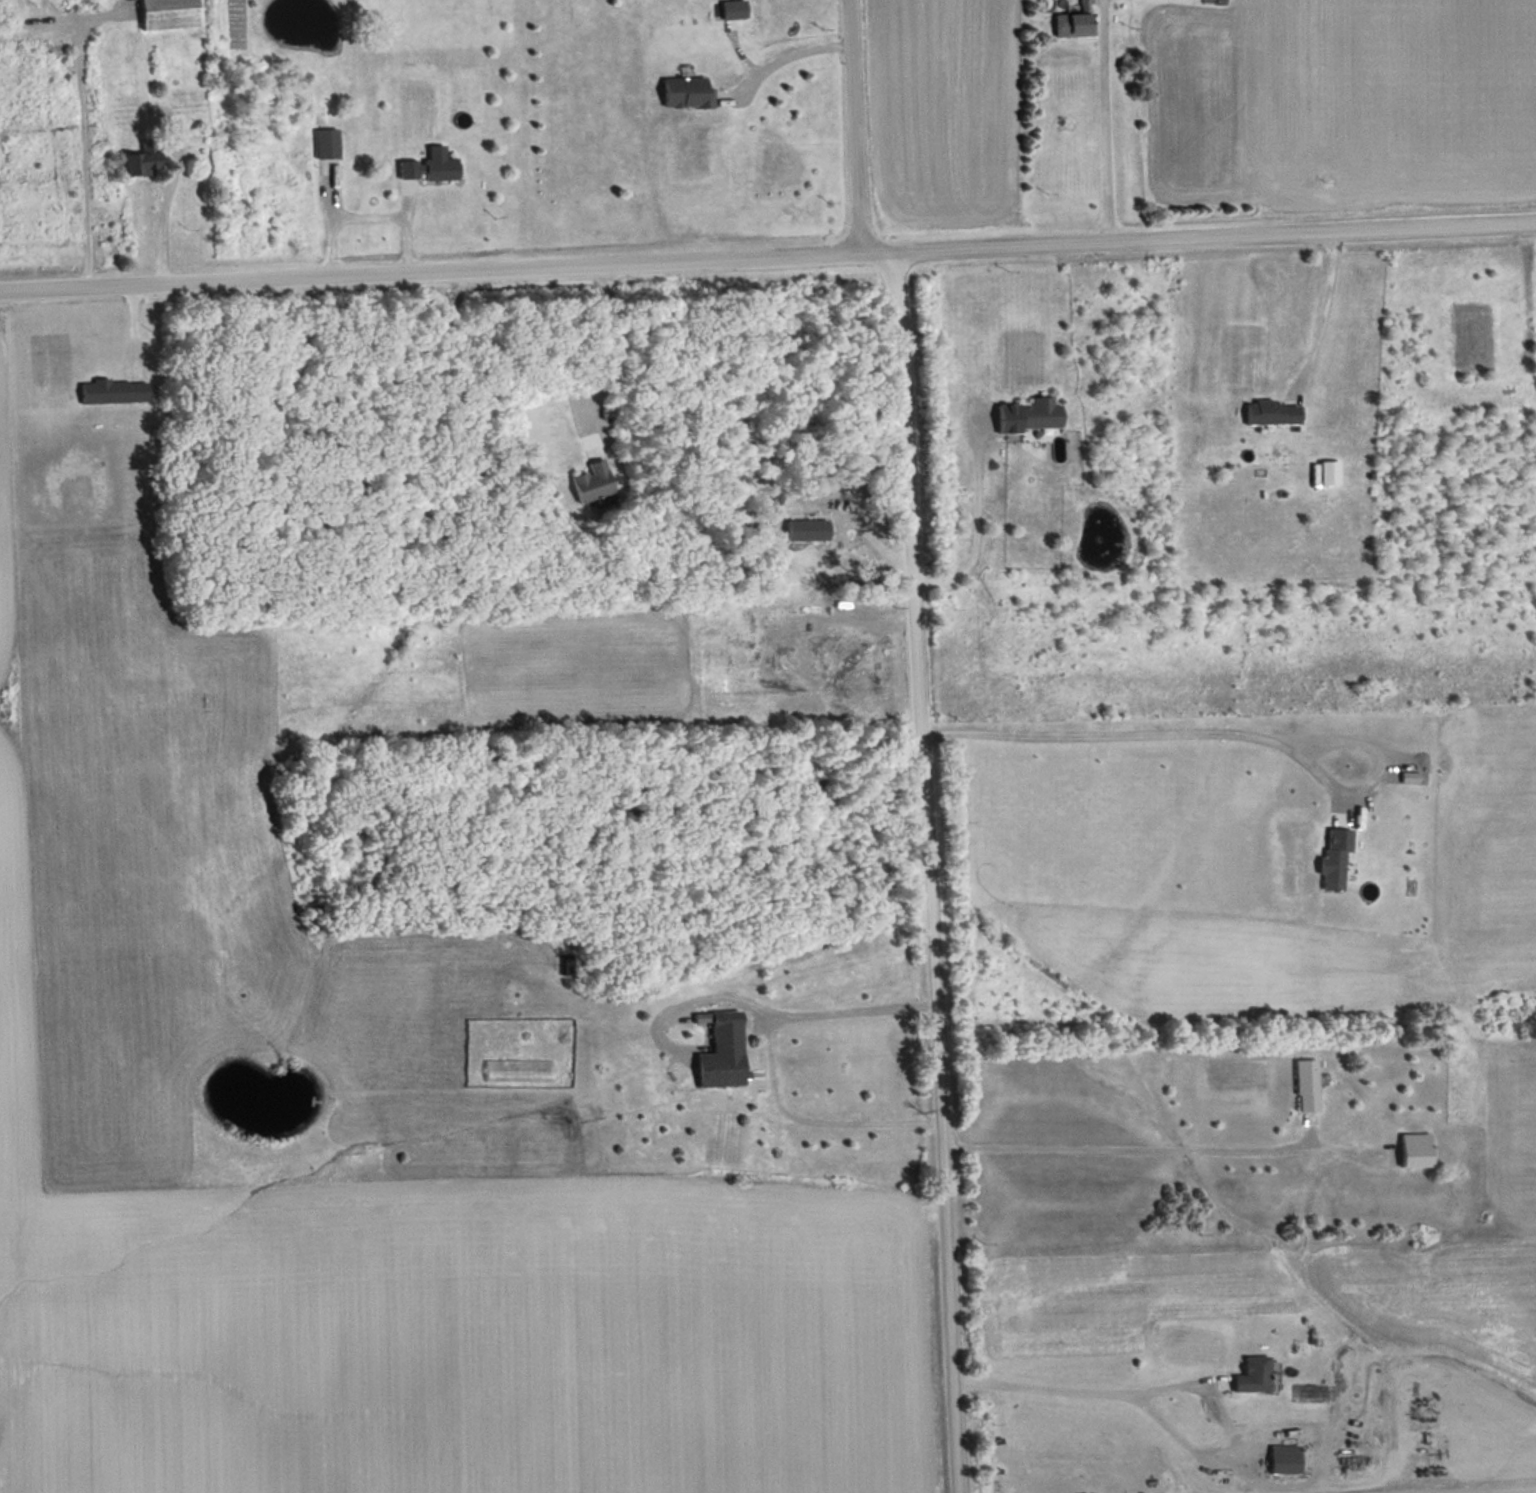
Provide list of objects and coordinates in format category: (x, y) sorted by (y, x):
building: (734, 9)
building: (170, 13)
building: (1074, 21)
building: (688, 91)
road: (76, 128)
building: (327, 151)
building: (146, 159)
building: (442, 168)
road: (157, 219)
road: (767, 254)
road: (612, 338)
building: (115, 391)
building: (1040, 413)
building: (1273, 413)
building: (594, 482)
road: (1226, 729)
road: (917, 739)
building: (1336, 859)
building: (566, 963)
building: (517, 993)
building: (724, 1052)
building: (1308, 1085)
building: (1418, 1150)
building: (1255, 1376)
road: (1178, 1383)
building: (1286, 1460)

